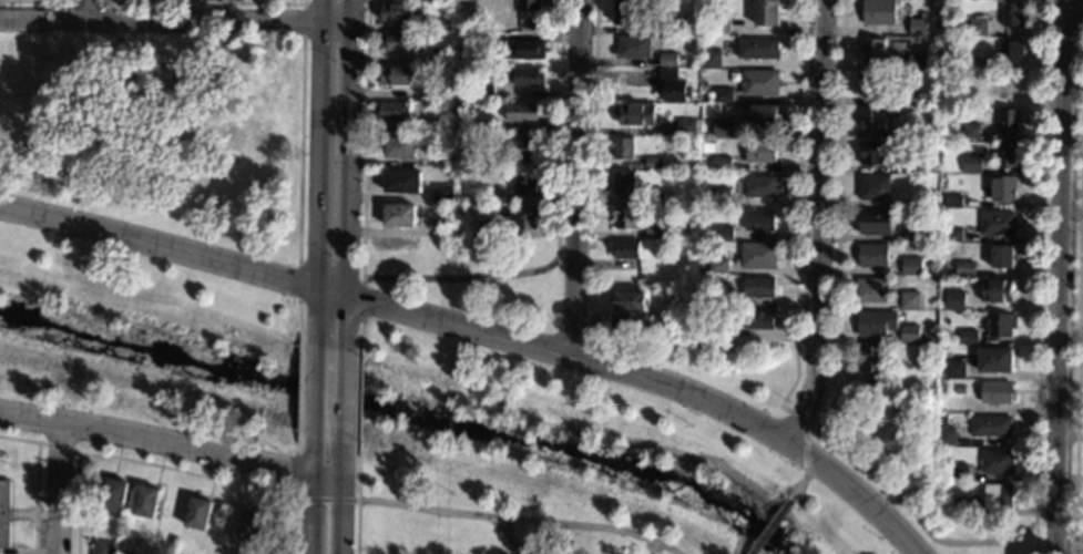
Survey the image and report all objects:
road: (44, 0)
road: (92, 0)
road: (208, 1)
building: (432, 1)
road: (317, 3)
building: (529, 4)
park: (1081, 4)
road: (95, 9)
building: (397, 12)
building: (627, 12)
building: (879, 12)
building: (768, 13)
road: (1074, 13)
building: (1012, 16)
road: (175, 20)
building: (449, 20)
building: (677, 24)
building: (719, 24)
building: (979, 28)
building: (919, 29)
road: (1062, 38)
building: (401, 42)
building: (480, 42)
building: (634, 48)
building: (524, 50)
building: (759, 51)
building: (872, 51)
building: (1011, 53)
building: (439, 58)
building: (668, 60)
building: (712, 60)
road: (500, 63)
building: (917, 63)
building: (972, 64)
building: (400, 76)
building: (529, 78)
building: (734, 78)
road: (841, 82)
building: (760, 84)
building: (872, 84)
building: (673, 88)
building: (1010, 88)
building: (484, 89)
building: (437, 93)
building: (971, 95)
building: (719, 96)
building: (906, 100)
building: (462, 107)
building: (394, 112)
building: (524, 113)
building: (635, 115)
building: (763, 116)
building: (871, 120)
building: (1009, 122)
road: (593, 123)
road: (558, 125)
building: (722, 126)
building: (441, 127)
building: (687, 129)
building: (971, 132)
building: (908, 133)
road: (366, 138)
road: (350, 146)
building: (401, 147)
building: (521, 148)
building: (623, 150)
road: (299, 151)
building: (760, 153)
building: (872, 154)
building: (1007, 156)
building: (441, 160)
building: (484, 163)
building: (654, 164)
building: (909, 164)
building: (723, 165)
building: (971, 165)
building: (928, 168)
road: (321, 175)
road: (578, 178)
building: (403, 182)
building: (527, 184)
building: (623, 184)
building: (758, 188)
building: (875, 188)
building: (1003, 188)
building: (443, 194)
building: (494, 197)
building: (719, 197)
building: (655, 199)
building: (920, 201)
building: (953, 203)
road: (1073, 213)
building: (400, 216)
building: (525, 218)
building: (625, 218)
building: (760, 222)
building: (876, 224)
building: (998, 225)
road: (823, 226)
park: (153, 227)
building: (488, 229)
building: (654, 234)
building: (724, 234)
road: (798, 236)
building: (924, 237)
building: (953, 237)
road: (175, 245)
road: (573, 245)
building: (626, 252)
building: (758, 256)
building: (872, 257)
building: (1004, 258)
building: (630, 267)
building: (718, 267)
building: (911, 267)
building: (965, 271)
road: (1081, 273)
building: (688, 276)
road: (1038, 276)
road: (1062, 276)
road: (464, 277)
road: (296, 279)
building: (759, 289)
building: (872, 291)
building: (997, 291)
road: (362, 297)
building: (724, 300)
building: (910, 301)
building: (956, 302)
building: (630, 305)
road: (838, 305)
road: (299, 316)
building: (759, 322)
road: (347, 325)
building: (877, 325)
road: (1079, 325)
building: (1001, 326)
road: (359, 331)
building: (705, 334)
road: (1072, 334)
building: (910, 335)
building: (969, 338)
building: (995, 361)
building: (872, 363)
building: (940, 371)
building: (956, 371)
road: (345, 376)
road: (655, 380)
road: (302, 389)
building: (879, 389)
building: (958, 390)
road: (316, 391)
building: (927, 393)
building: (997, 393)
road: (356, 399)
building: (956, 406)
river: (403, 408)
road: (344, 416)
building: (991, 428)
park: (623, 431)
building: (953, 441)
road: (172, 444)
road: (58, 448)
building: (998, 464)
road: (166, 468)
road: (297, 470)
road: (808, 473)
building: (958, 473)
road: (37, 479)
road: (60, 489)
road: (315, 493)
building: (113, 494)
road: (344, 495)
building: (999, 497)
road: (326, 499)
building: (145, 501)
road: (358, 504)
building: (964, 507)
building: (4, 514)
building: (198, 514)
road: (520, 520)
road: (920, 522)
building: (252, 529)
road: (768, 529)
road: (512, 537)
building: (119, 545)
building: (102, 547)
building: (126, 547)
building: (124, 553)

